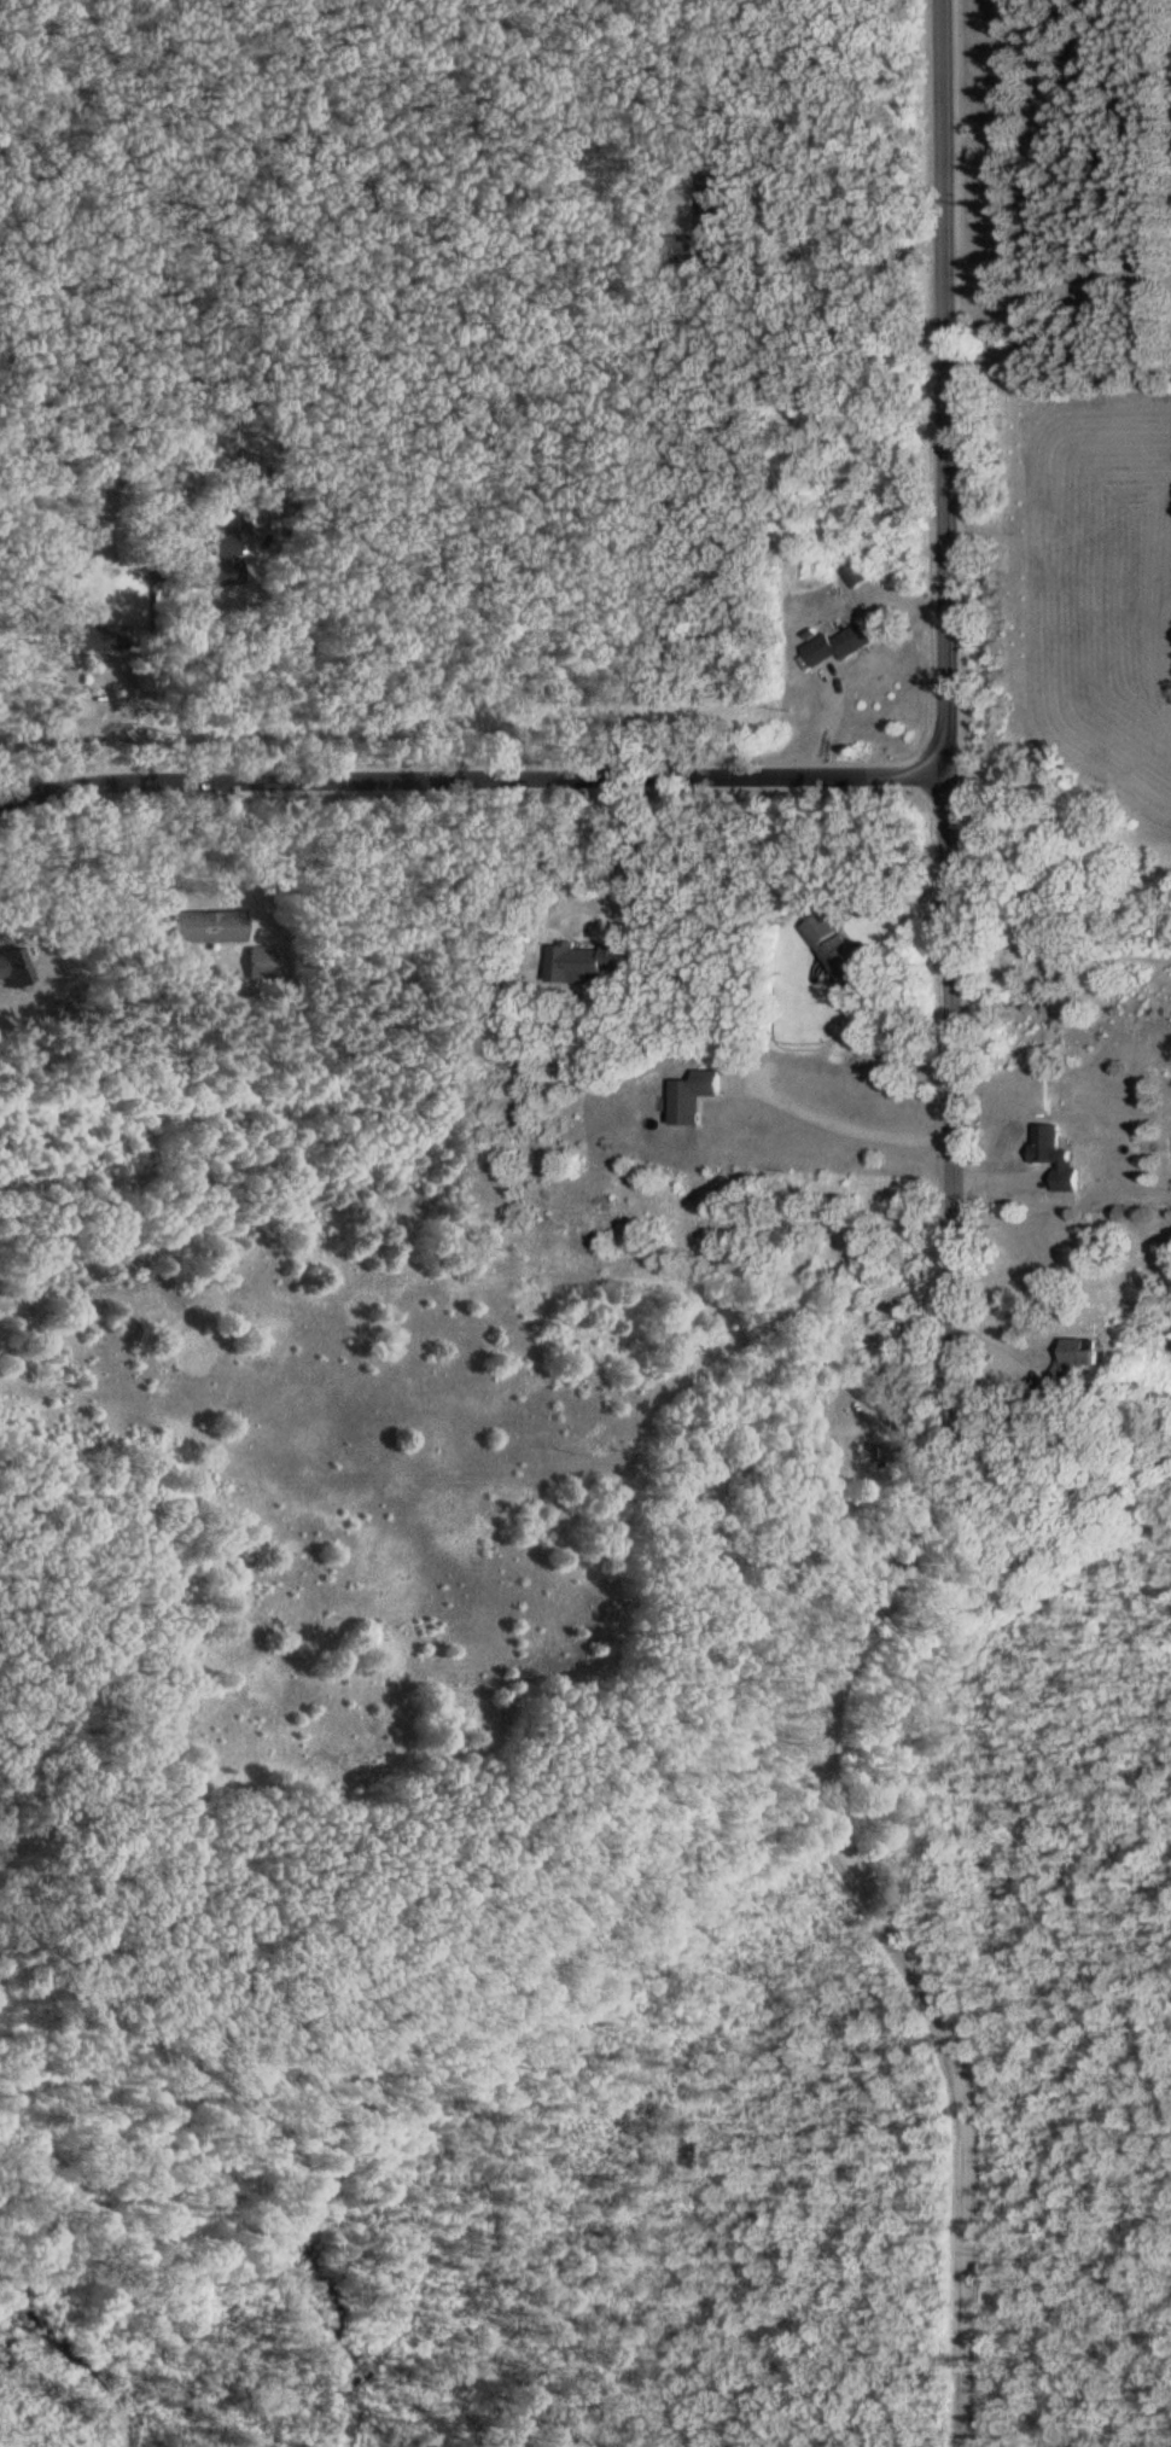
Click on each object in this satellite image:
building: (716, 200)
building: (687, 246)
road: (828, 251)
road: (1055, 291)
road: (942, 385)
building: (220, 561)
building: (858, 576)
building: (95, 635)
building: (845, 642)
road: (255, 676)
road: (58, 722)
road: (476, 776)
road: (268, 843)
road: (592, 896)
building: (205, 925)
building: (847, 946)
building: (595, 960)
building: (264, 961)
building: (10, 968)
building: (699, 1094)
road: (845, 1113)
building: (1060, 1157)
building: (1079, 1353)
building: (873, 1453)
road: (866, 1621)

